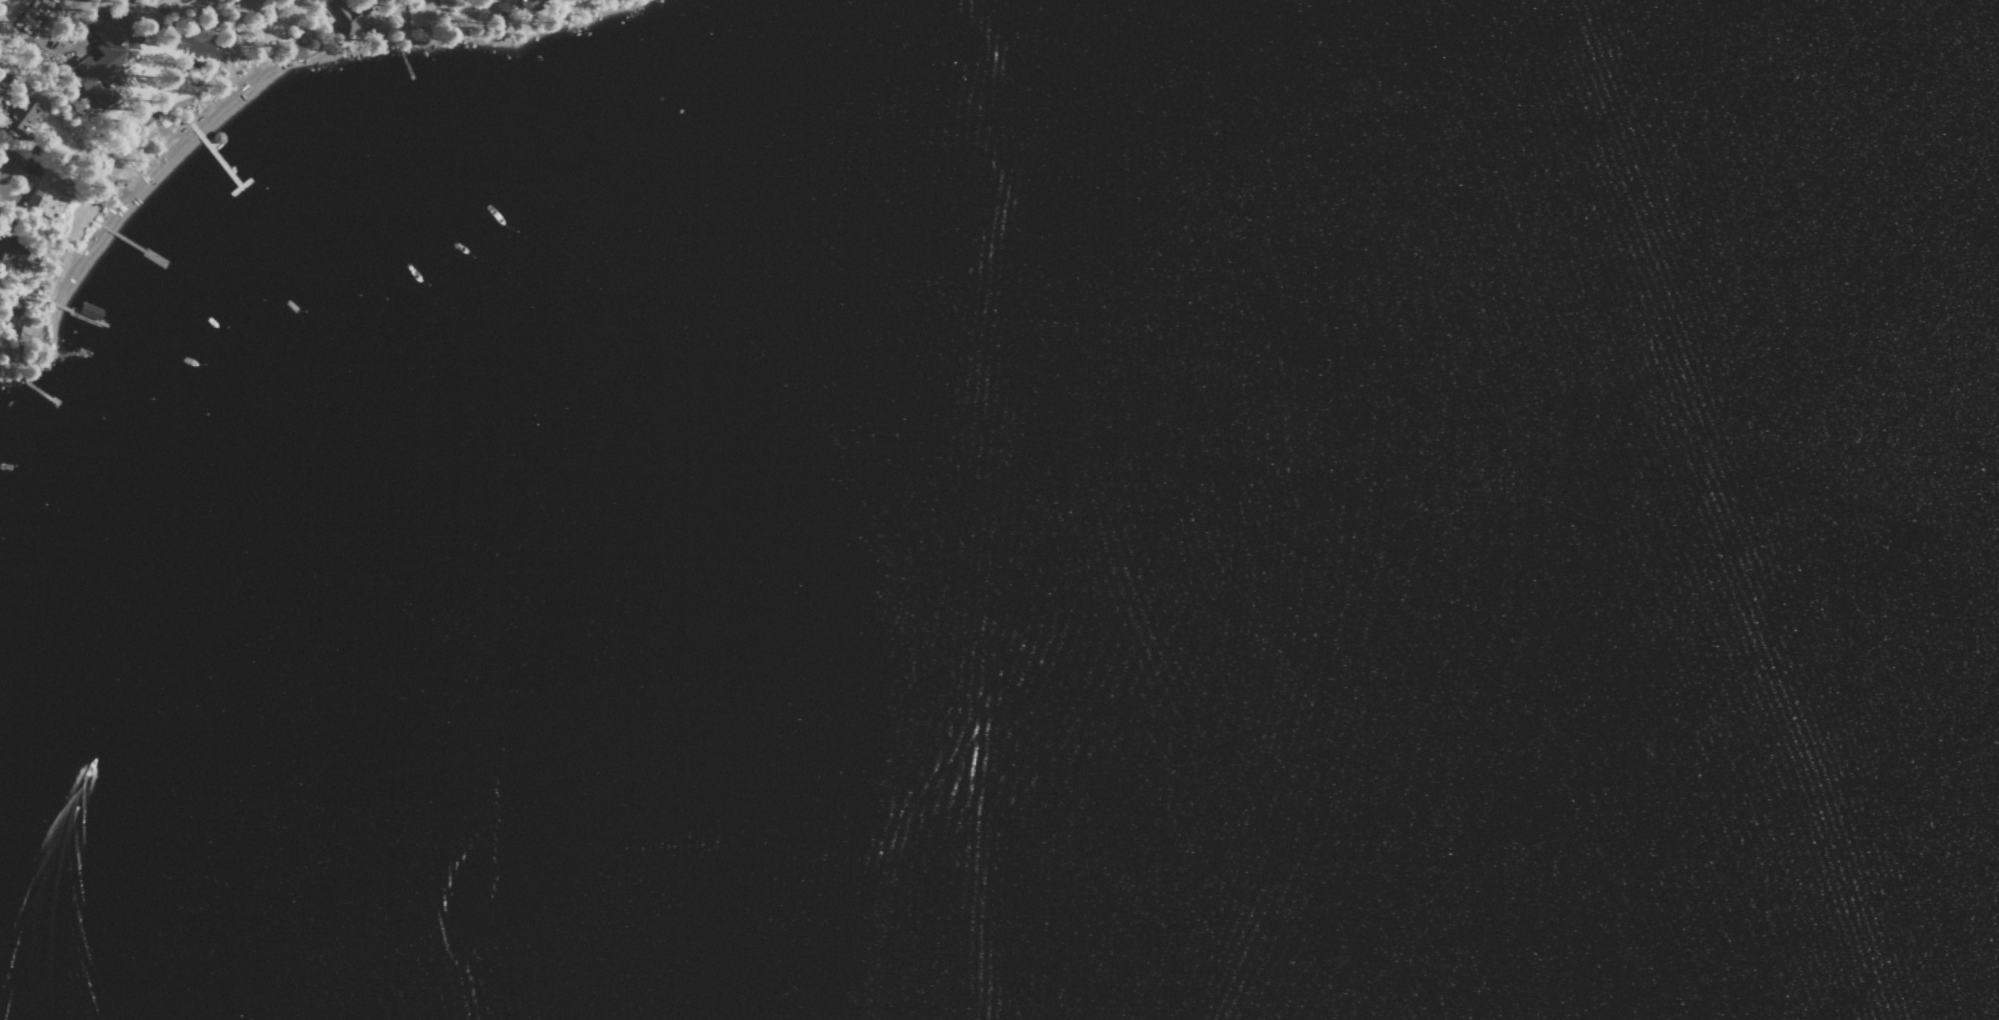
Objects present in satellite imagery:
building: (529, 3)
park: (424, 10)
building: (352, 15)
road: (26, 37)
building: (291, 52)
building: (101, 55)
pier: (403, 57)
building: (21, 113)
road: (547, 126)
pier: (219, 159)
building: (45, 191)
pier: (134, 244)
building: (10, 251)
pier: (78, 311)
building: (27, 330)
pier: (38, 390)

